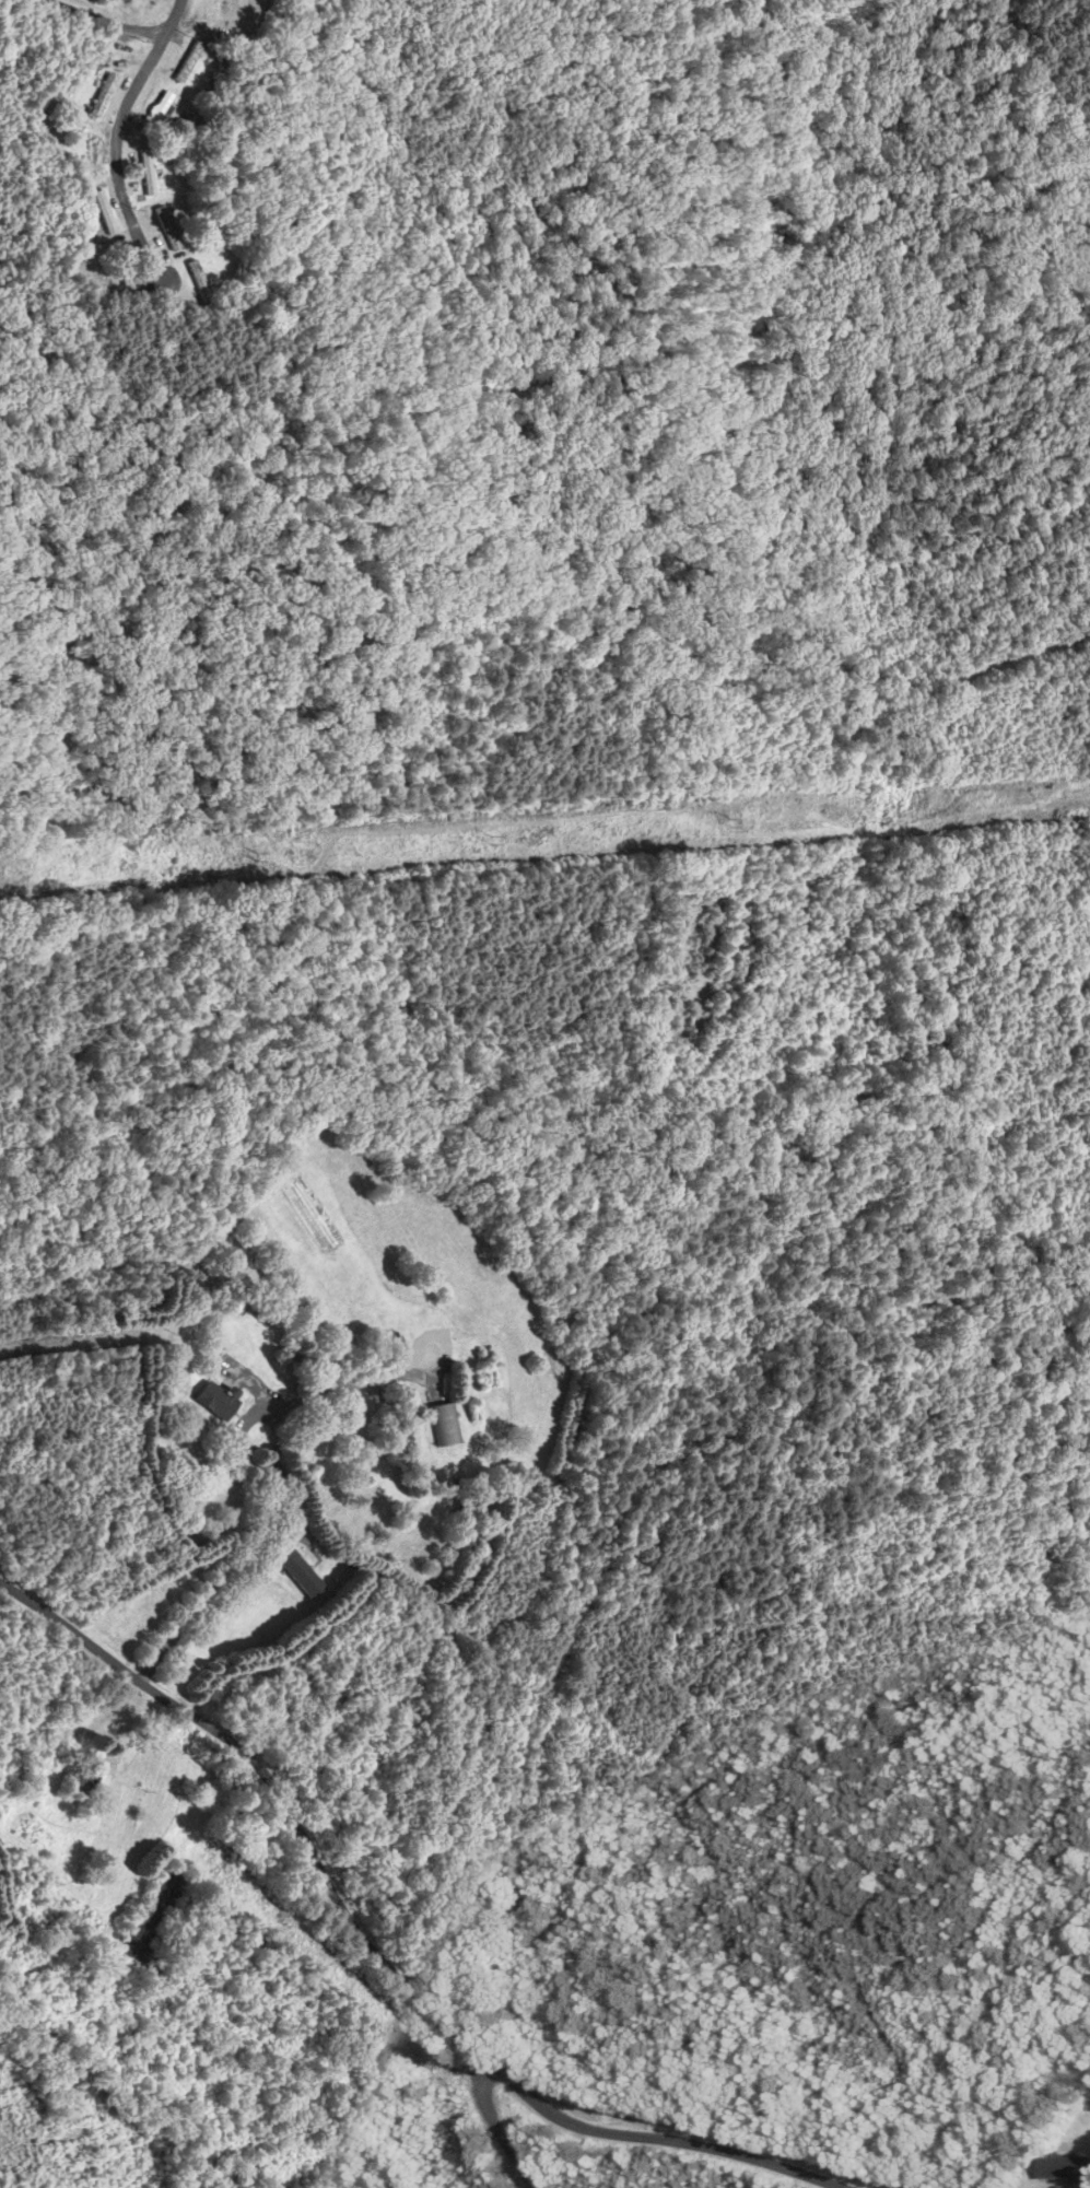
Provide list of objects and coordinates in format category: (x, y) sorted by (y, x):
building: (211, 7)
road: (101, 20)
building: (186, 62)
building: (101, 96)
building: (153, 114)
road: (115, 137)
building: (91, 152)
building: (145, 173)
building: (102, 213)
building: (120, 269)
building: (198, 285)
power tower: (727, 817)
building: (214, 1400)
building: (442, 1425)
road: (263, 1516)
building: (78, 1786)
building: (150, 1919)
road: (377, 1955)
road: (495, 2127)
building: (1066, 2167)

